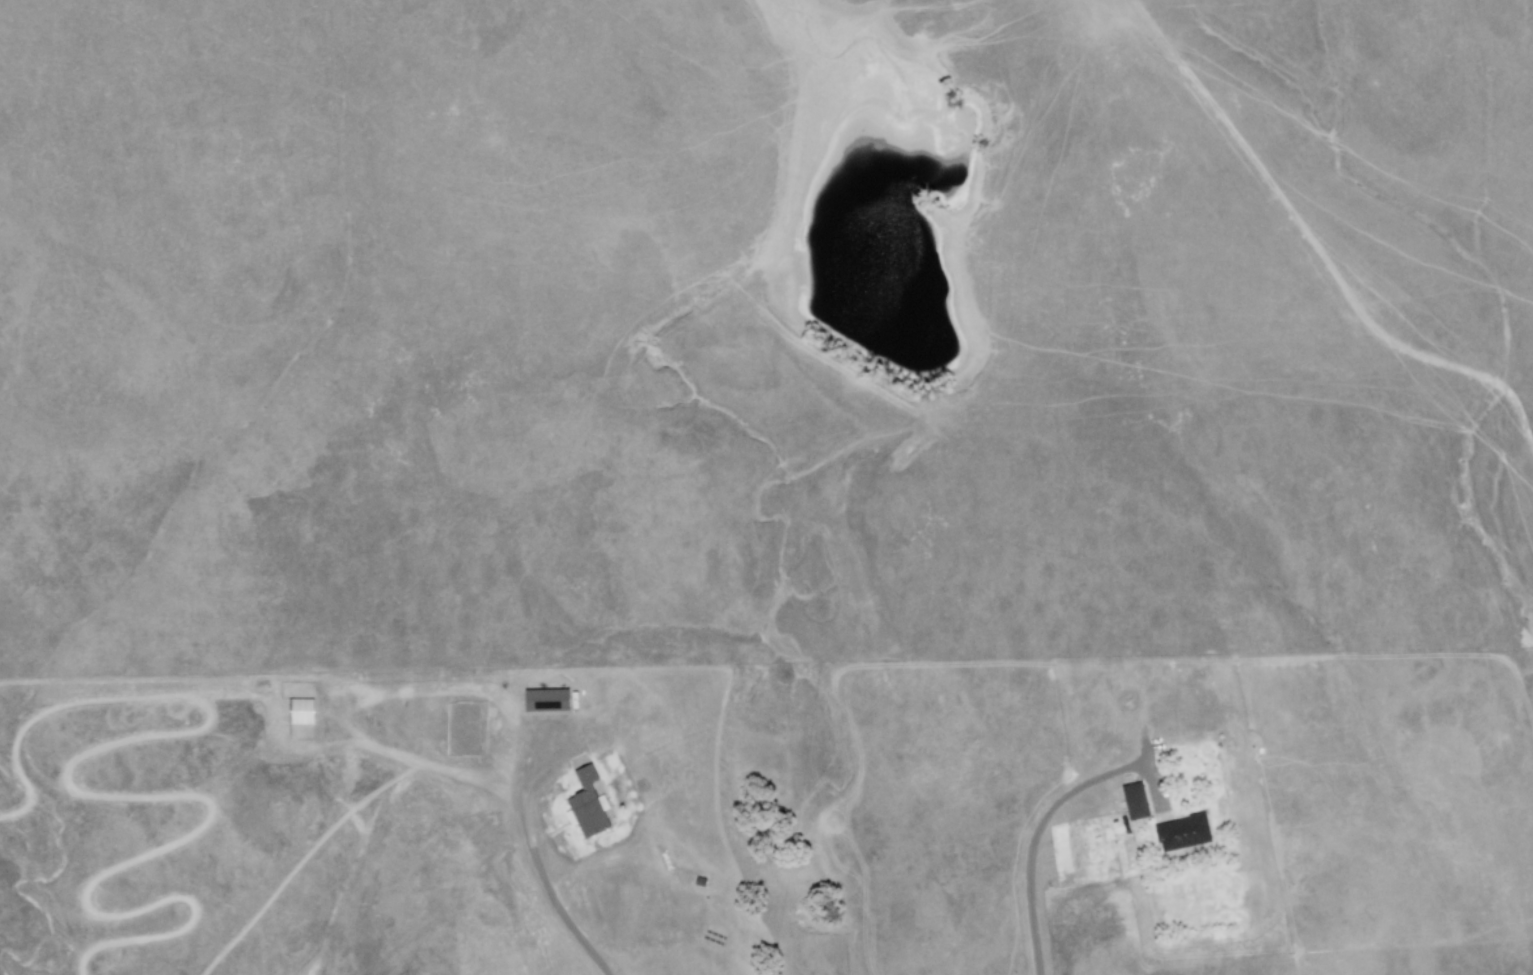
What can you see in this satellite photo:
dam: (830, 355)
road: (1423, 416)
building: (540, 700)
building: (296, 711)
building: (582, 799)
building: (1130, 801)
road: (1039, 820)
building: (1178, 832)
road: (533, 864)

